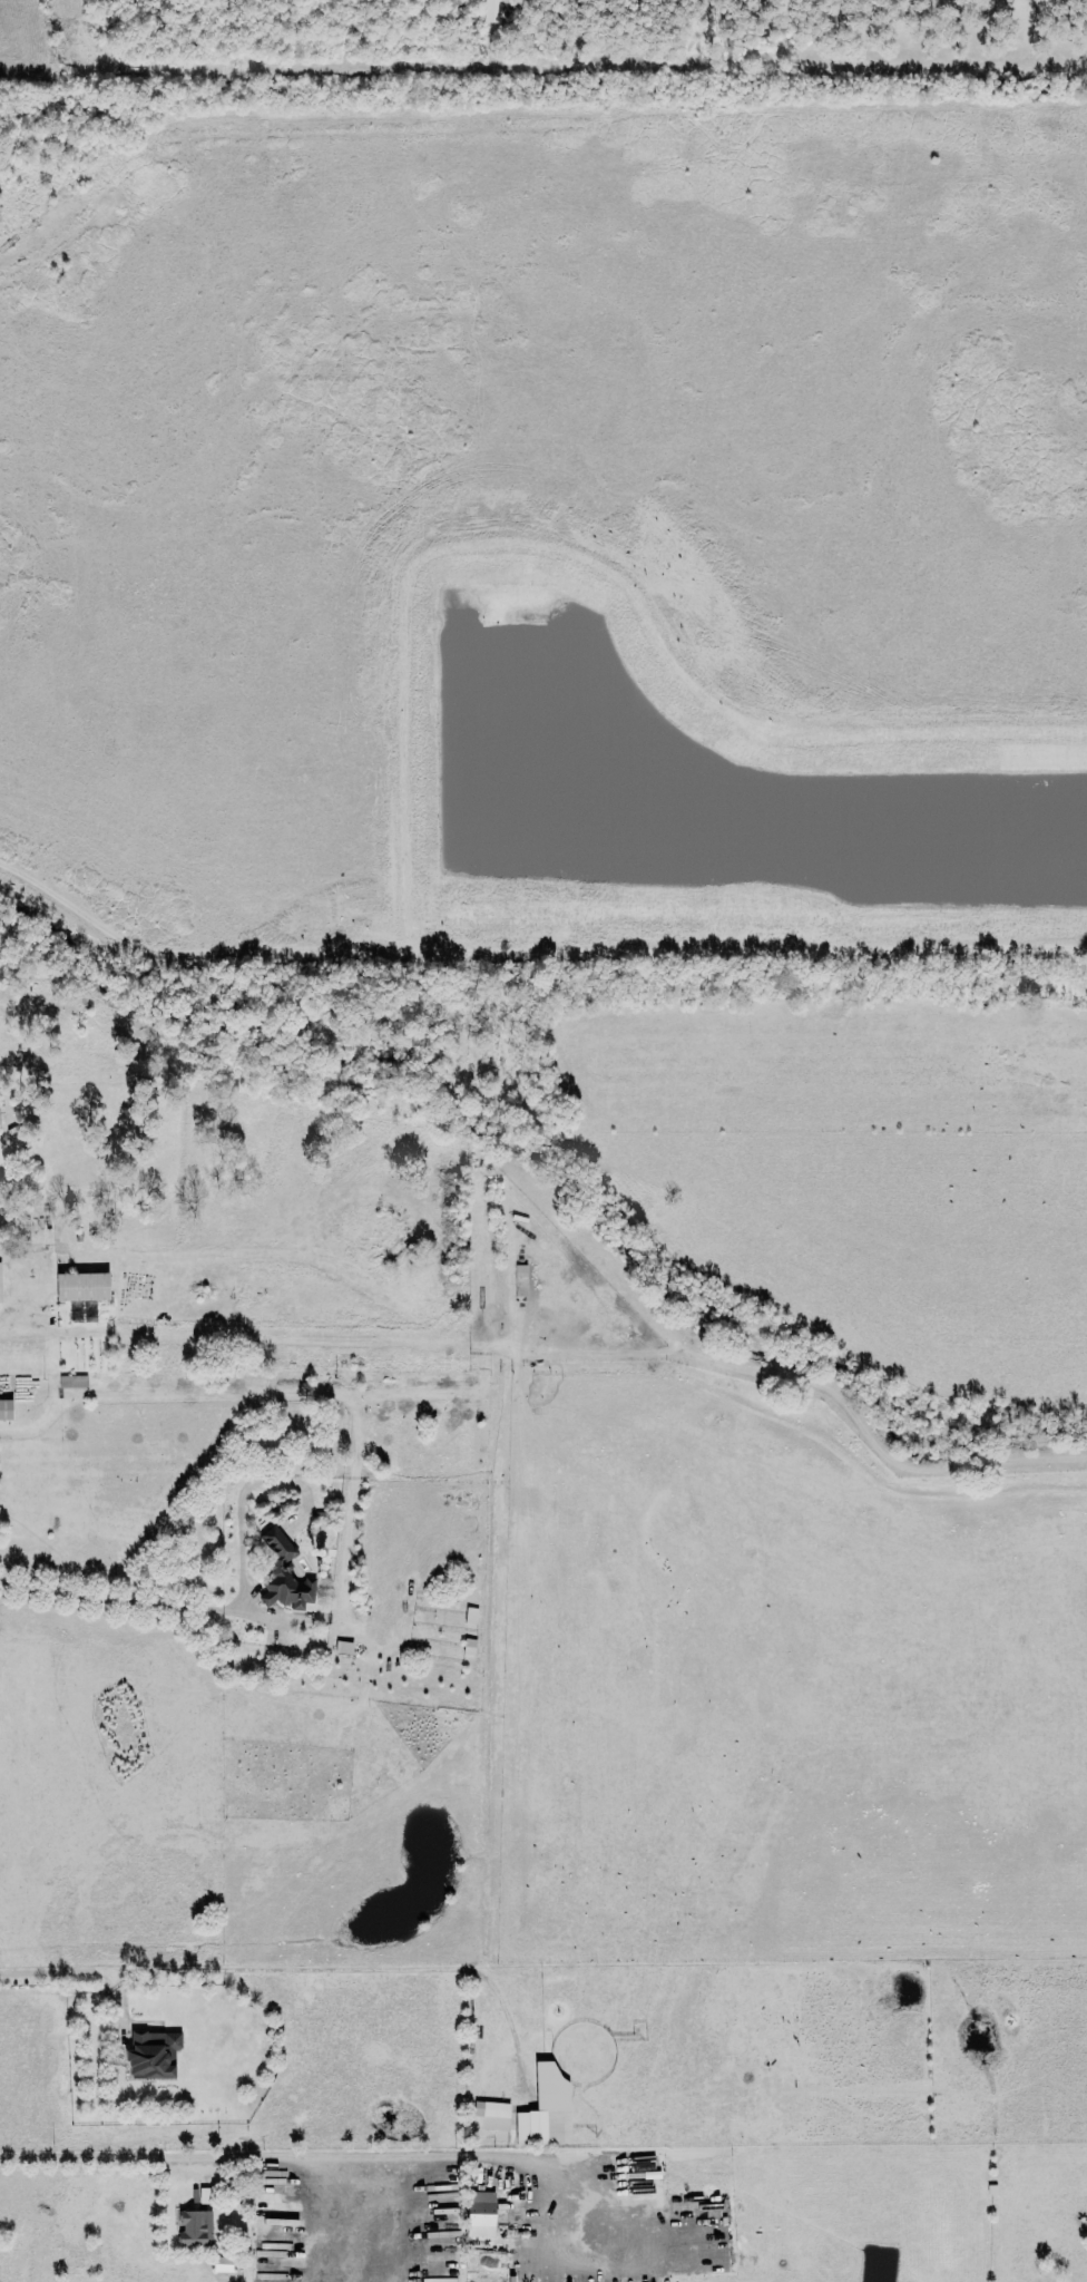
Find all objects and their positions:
building: (493, 11)
road: (49, 979)
river: (565, 1169)
building: (25, 1230)
building: (0, 1284)
building: (81, 1286)
road: (20, 1287)
building: (72, 1381)
building: (6, 1410)
building: (283, 1574)
road: (125, 1601)
building: (470, 1616)
road: (72, 1973)
building: (153, 2055)
building: (546, 2109)
building: (490, 2116)
road: (92, 2158)
building: (480, 2214)
building: (194, 2229)
building: (222, 2264)

